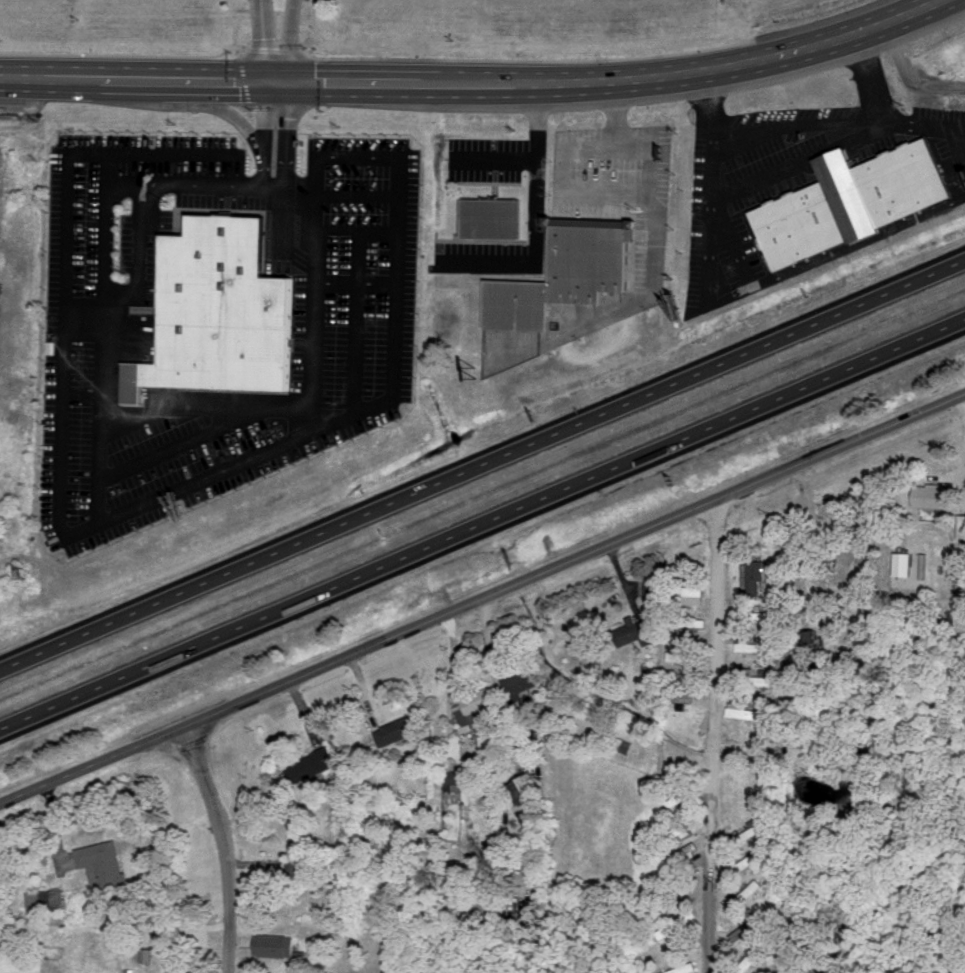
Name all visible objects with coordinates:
road: (262, 23)
road: (298, 25)
road: (772, 48)
road: (276, 61)
road: (796, 66)
road: (868, 72)
road: (910, 72)
traffic signals: (275, 82)
road: (309, 82)
road: (708, 98)
road: (217, 105)
road: (263, 117)
road: (289, 133)
road: (728, 137)
road: (361, 154)
road: (538, 178)
road: (189, 184)
road: (262, 184)
building: (852, 204)
building: (494, 220)
building: (567, 276)
road: (315, 294)
building: (224, 310)
road: (482, 465)
building: (934, 495)
road: (125, 513)
road: (481, 525)
building: (962, 525)
building: (904, 562)
building: (924, 564)
building: (753, 575)
building: (655, 589)
building: (687, 590)
road: (482, 599)
building: (754, 614)
building: (636, 631)
building: (816, 636)
building: (748, 643)
building: (686, 655)
building: (754, 677)
building: (521, 681)
building: (763, 703)
building: (477, 707)
building: (748, 711)
building: (401, 728)
road: (712, 737)
building: (312, 764)
building: (453, 783)
building: (526, 787)
building: (677, 831)
building: (744, 835)
road: (227, 846)
building: (682, 852)
building: (747, 860)
building: (104, 864)
building: (677, 887)
building: (745, 895)
building: (46, 899)
building: (752, 923)
building: (678, 924)
road: (158, 926)
building: (277, 944)
building: (749, 959)
building: (685, 968)

